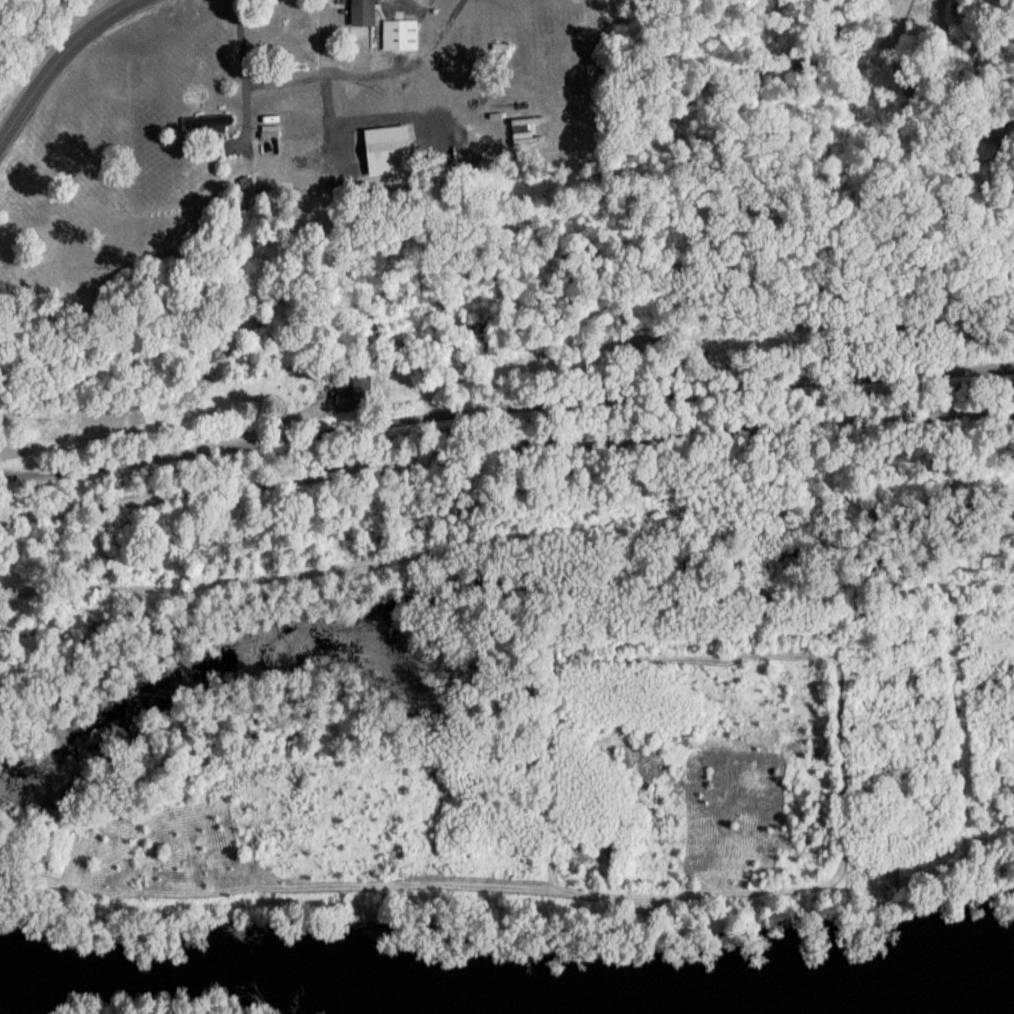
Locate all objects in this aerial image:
building: (359, 16)
road: (47, 65)
road: (404, 70)
road: (237, 74)
road: (319, 84)
road: (278, 87)
building: (204, 129)
building: (519, 143)
building: (384, 155)
building: (351, 400)
road: (505, 409)
building: (119, 410)
road: (505, 465)
river: (920, 997)

